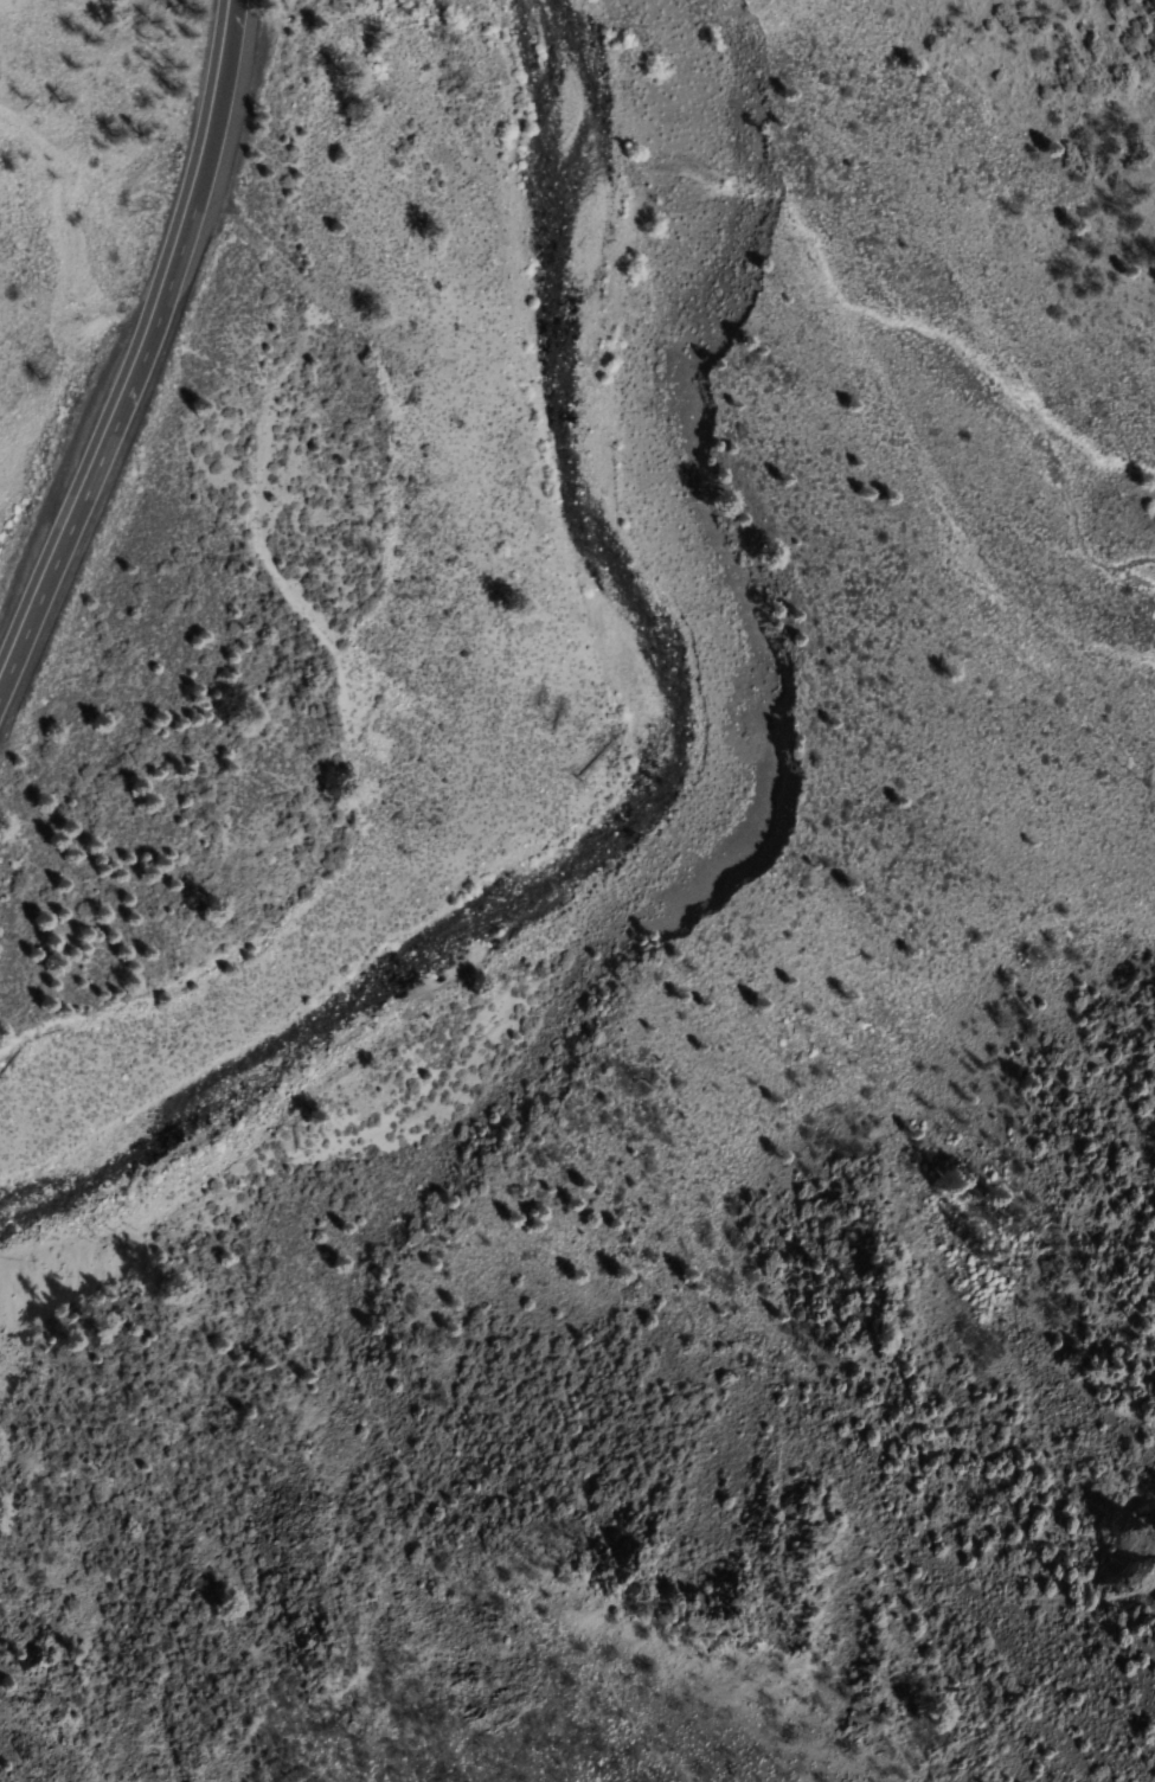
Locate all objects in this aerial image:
road: (137, 336)
river: (655, 774)

